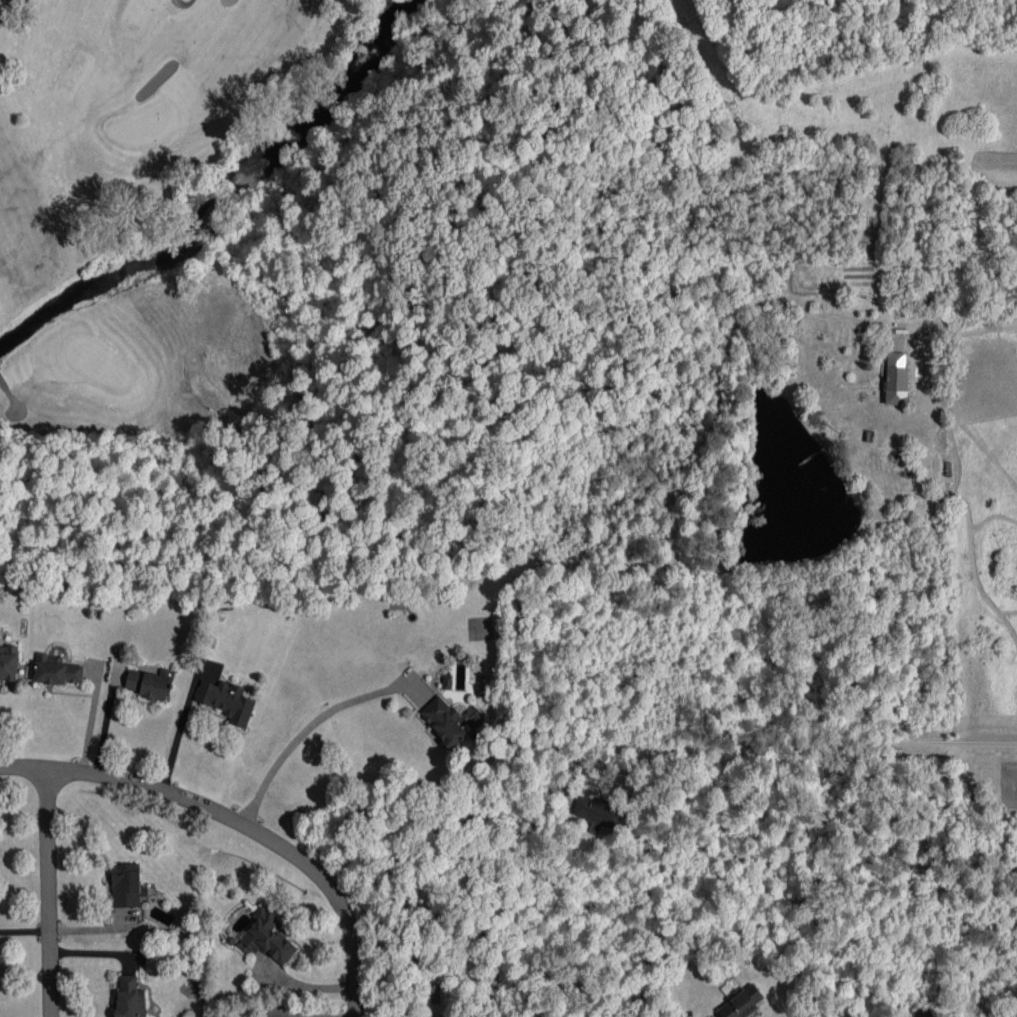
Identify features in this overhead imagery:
park: (143, 124)
park: (129, 179)
river: (241, 213)
road: (969, 331)
building: (8, 663)
road: (827, 668)
building: (57, 670)
building: (149, 683)
building: (226, 700)
building: (443, 721)
road: (185, 735)
road: (307, 737)
road: (818, 747)
building: (597, 811)
road: (238, 823)
building: (126, 885)
road: (48, 892)
building: (267, 937)
road: (306, 984)
building: (130, 997)
building: (741, 1002)

